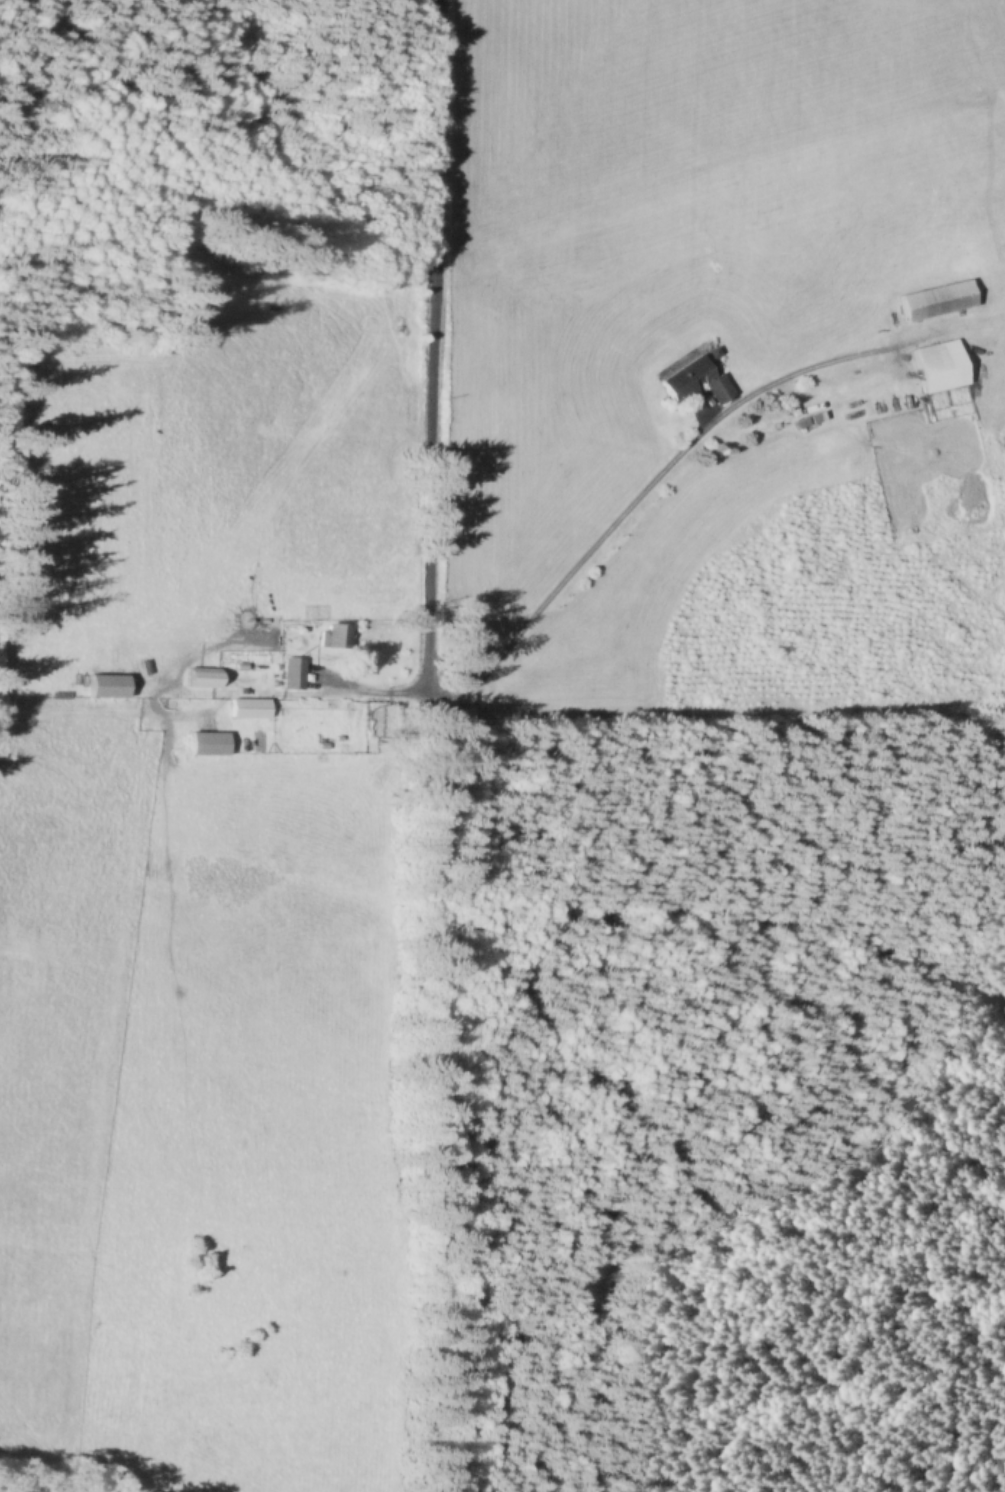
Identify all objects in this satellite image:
building: (934, 301)
building: (936, 367)
building: (690, 382)
road: (634, 500)
building: (329, 638)
building: (289, 675)
building: (196, 679)
building: (102, 687)
building: (245, 709)
building: (205, 744)
road: (424, 745)

